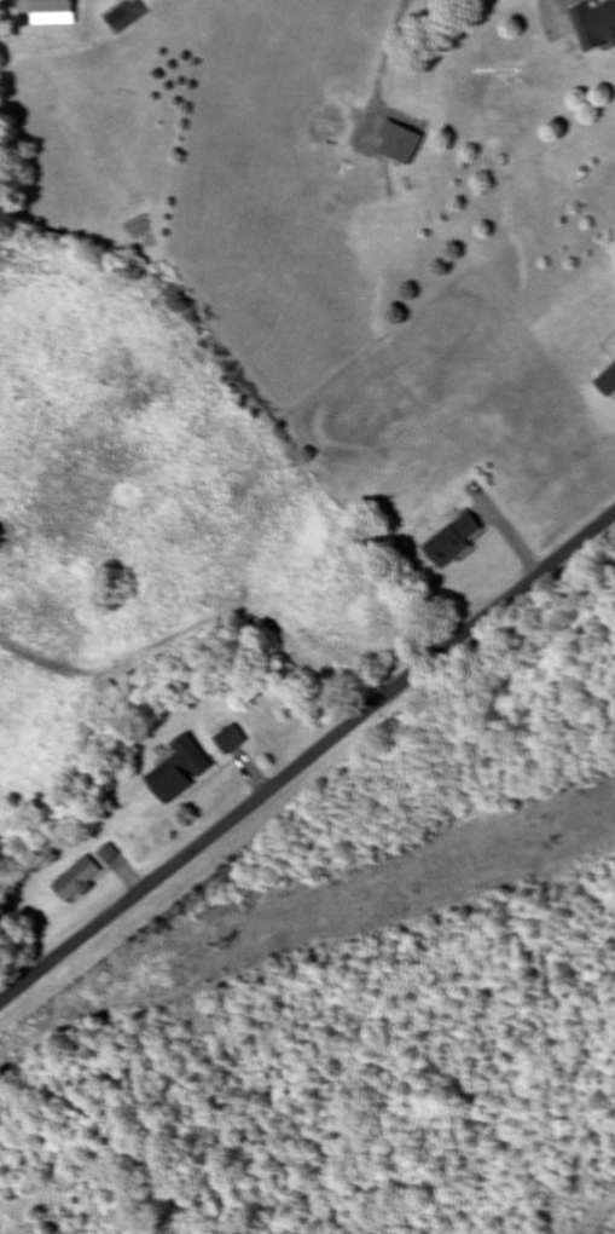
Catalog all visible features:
building: (53, 12)
building: (596, 25)
building: (608, 382)
building: (453, 541)
building: (230, 740)
road: (307, 757)
building: (180, 771)
building: (106, 854)
building: (77, 880)

